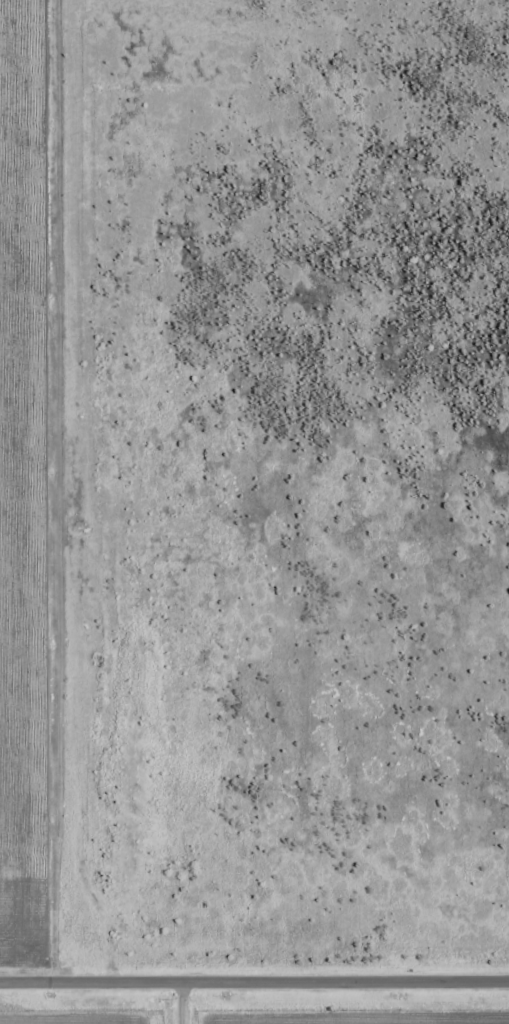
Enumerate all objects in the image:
road: (254, 981)
road: (180, 1003)
airport: (261, 1015)

